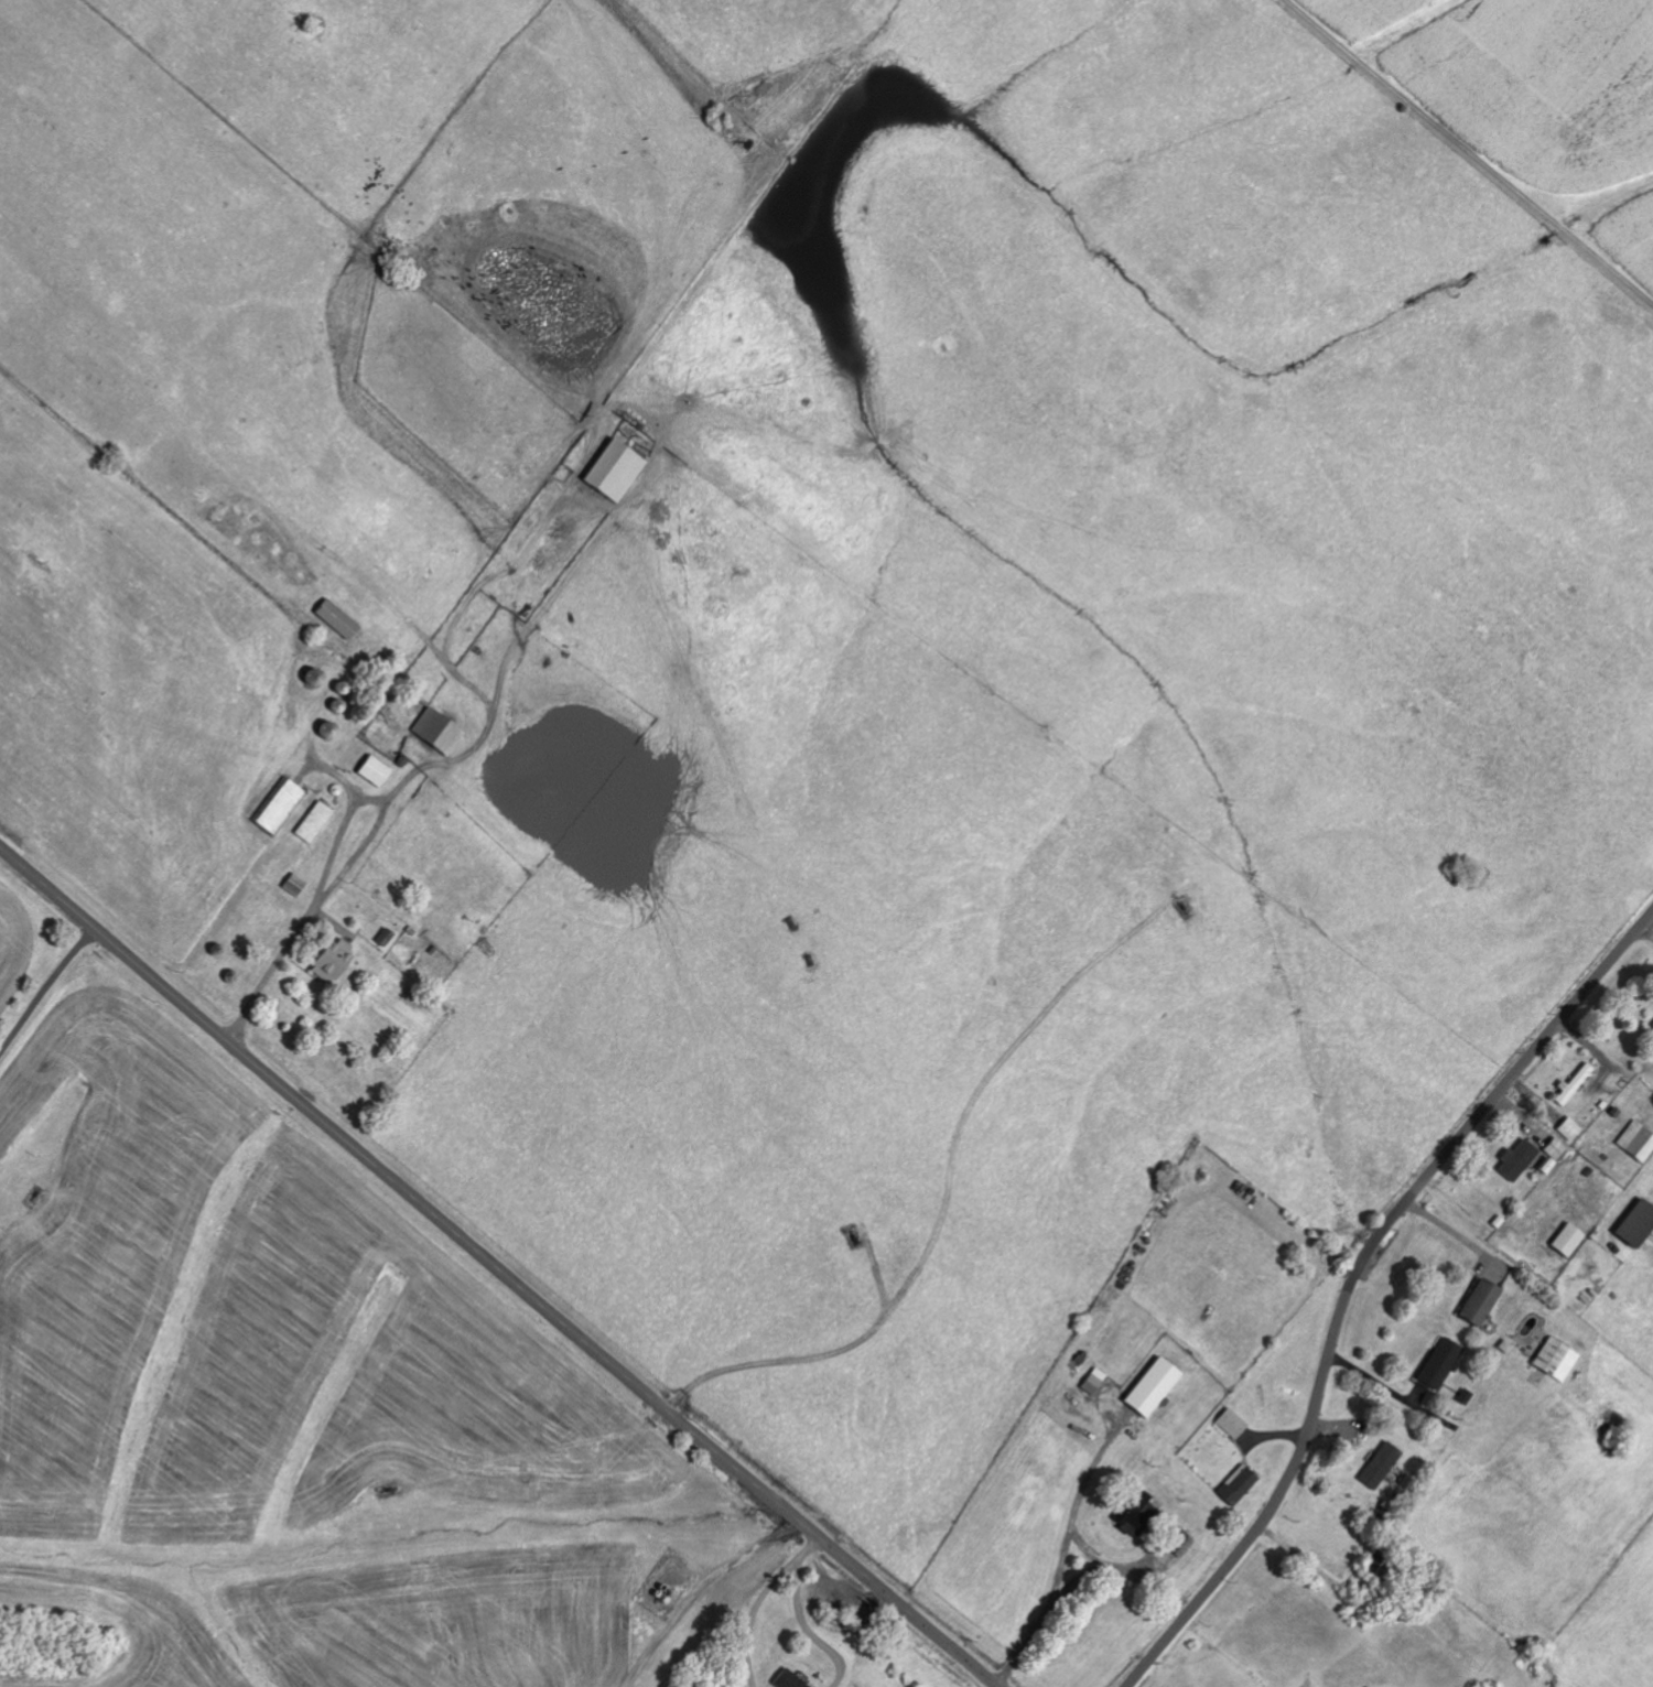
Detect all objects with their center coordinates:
road: (1481, 145)
building: (617, 472)
building: (338, 619)
building: (440, 729)
building: (377, 771)
building: (281, 804)
road: (348, 868)
building: (336, 961)
road: (45, 991)
building: (1578, 1084)
building: (1573, 1129)
building: (1639, 1142)
building: (1555, 1155)
building: (1522, 1160)
building: (1639, 1226)
building: (1570, 1241)
road: (498, 1268)
road: (1355, 1279)
building: (1484, 1302)
building: (1557, 1360)
building: (1444, 1363)
building: (1094, 1382)
building: (1156, 1387)
building: (1233, 1425)
building: (1382, 1466)
building: (1240, 1485)
building: (1180, 1542)
road: (813, 1543)
building: (1380, 1565)
road: (757, 1610)
road: (803, 1625)
building: (790, 1679)

